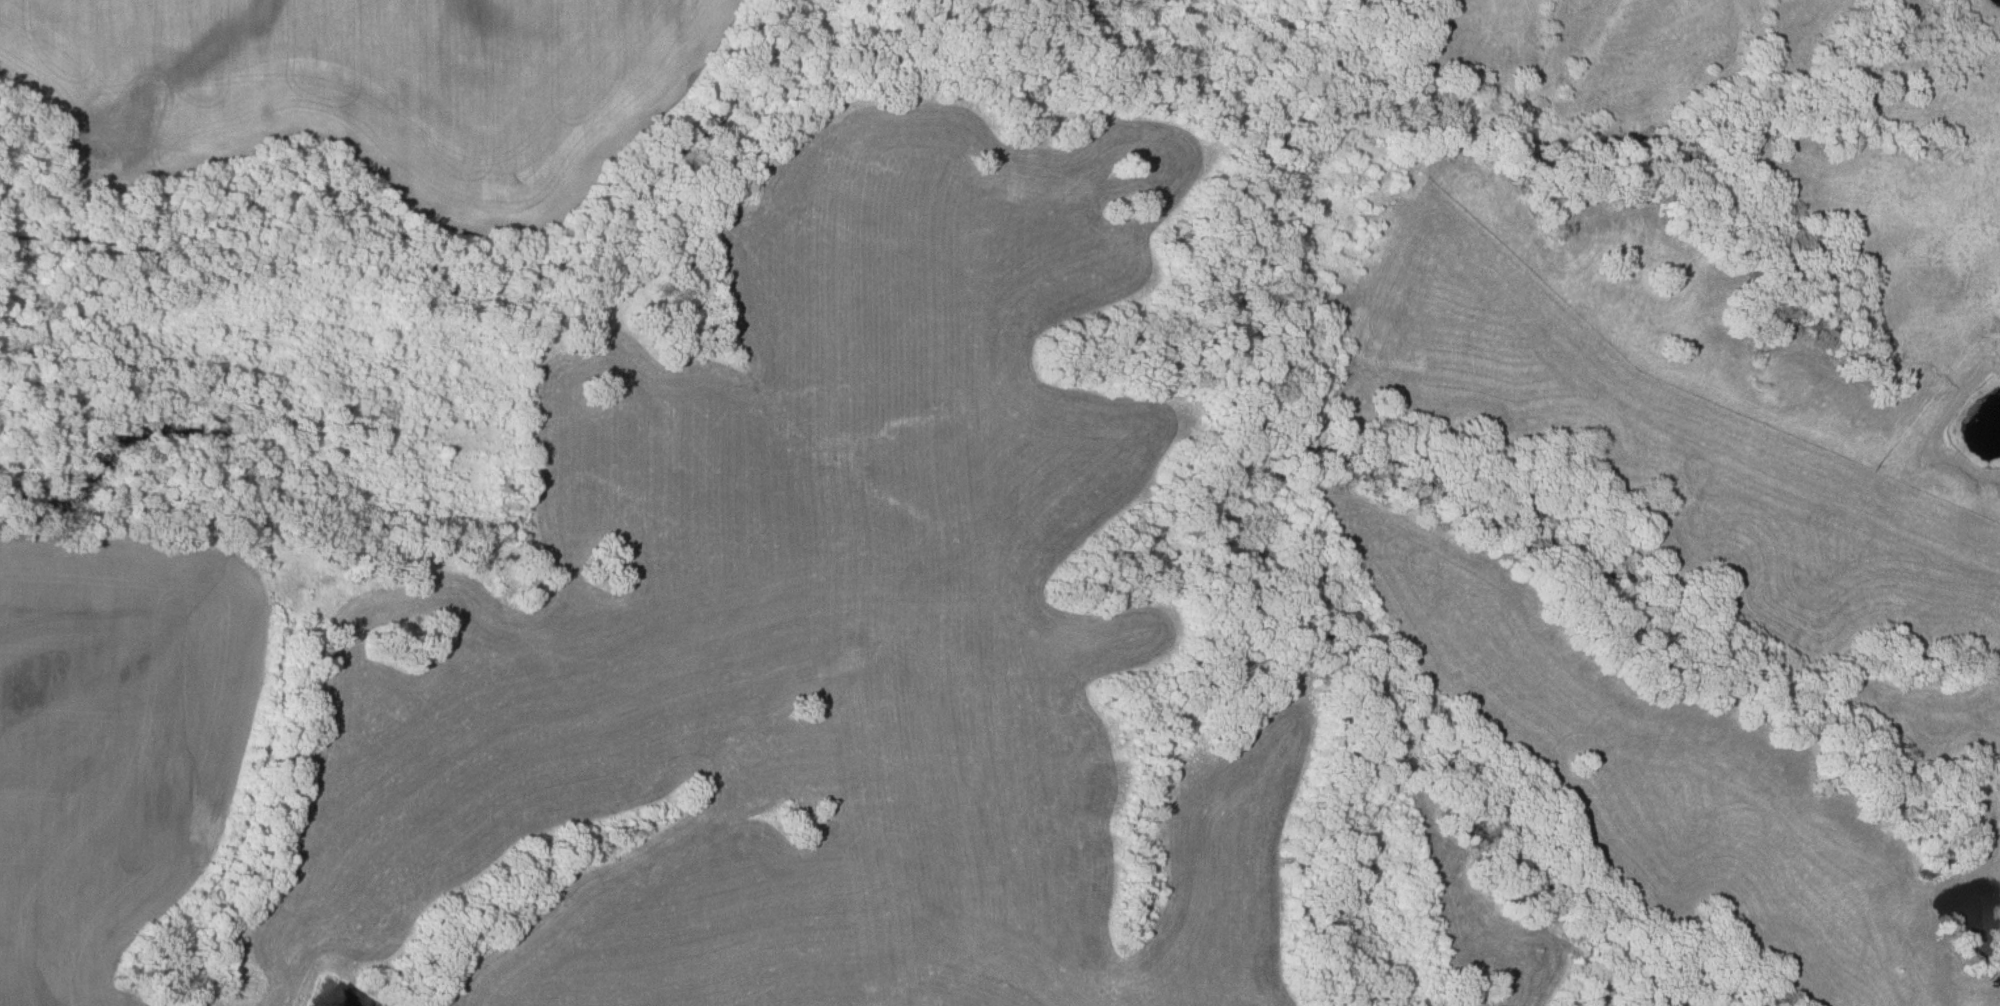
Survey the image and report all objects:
park: (1466, 986)

